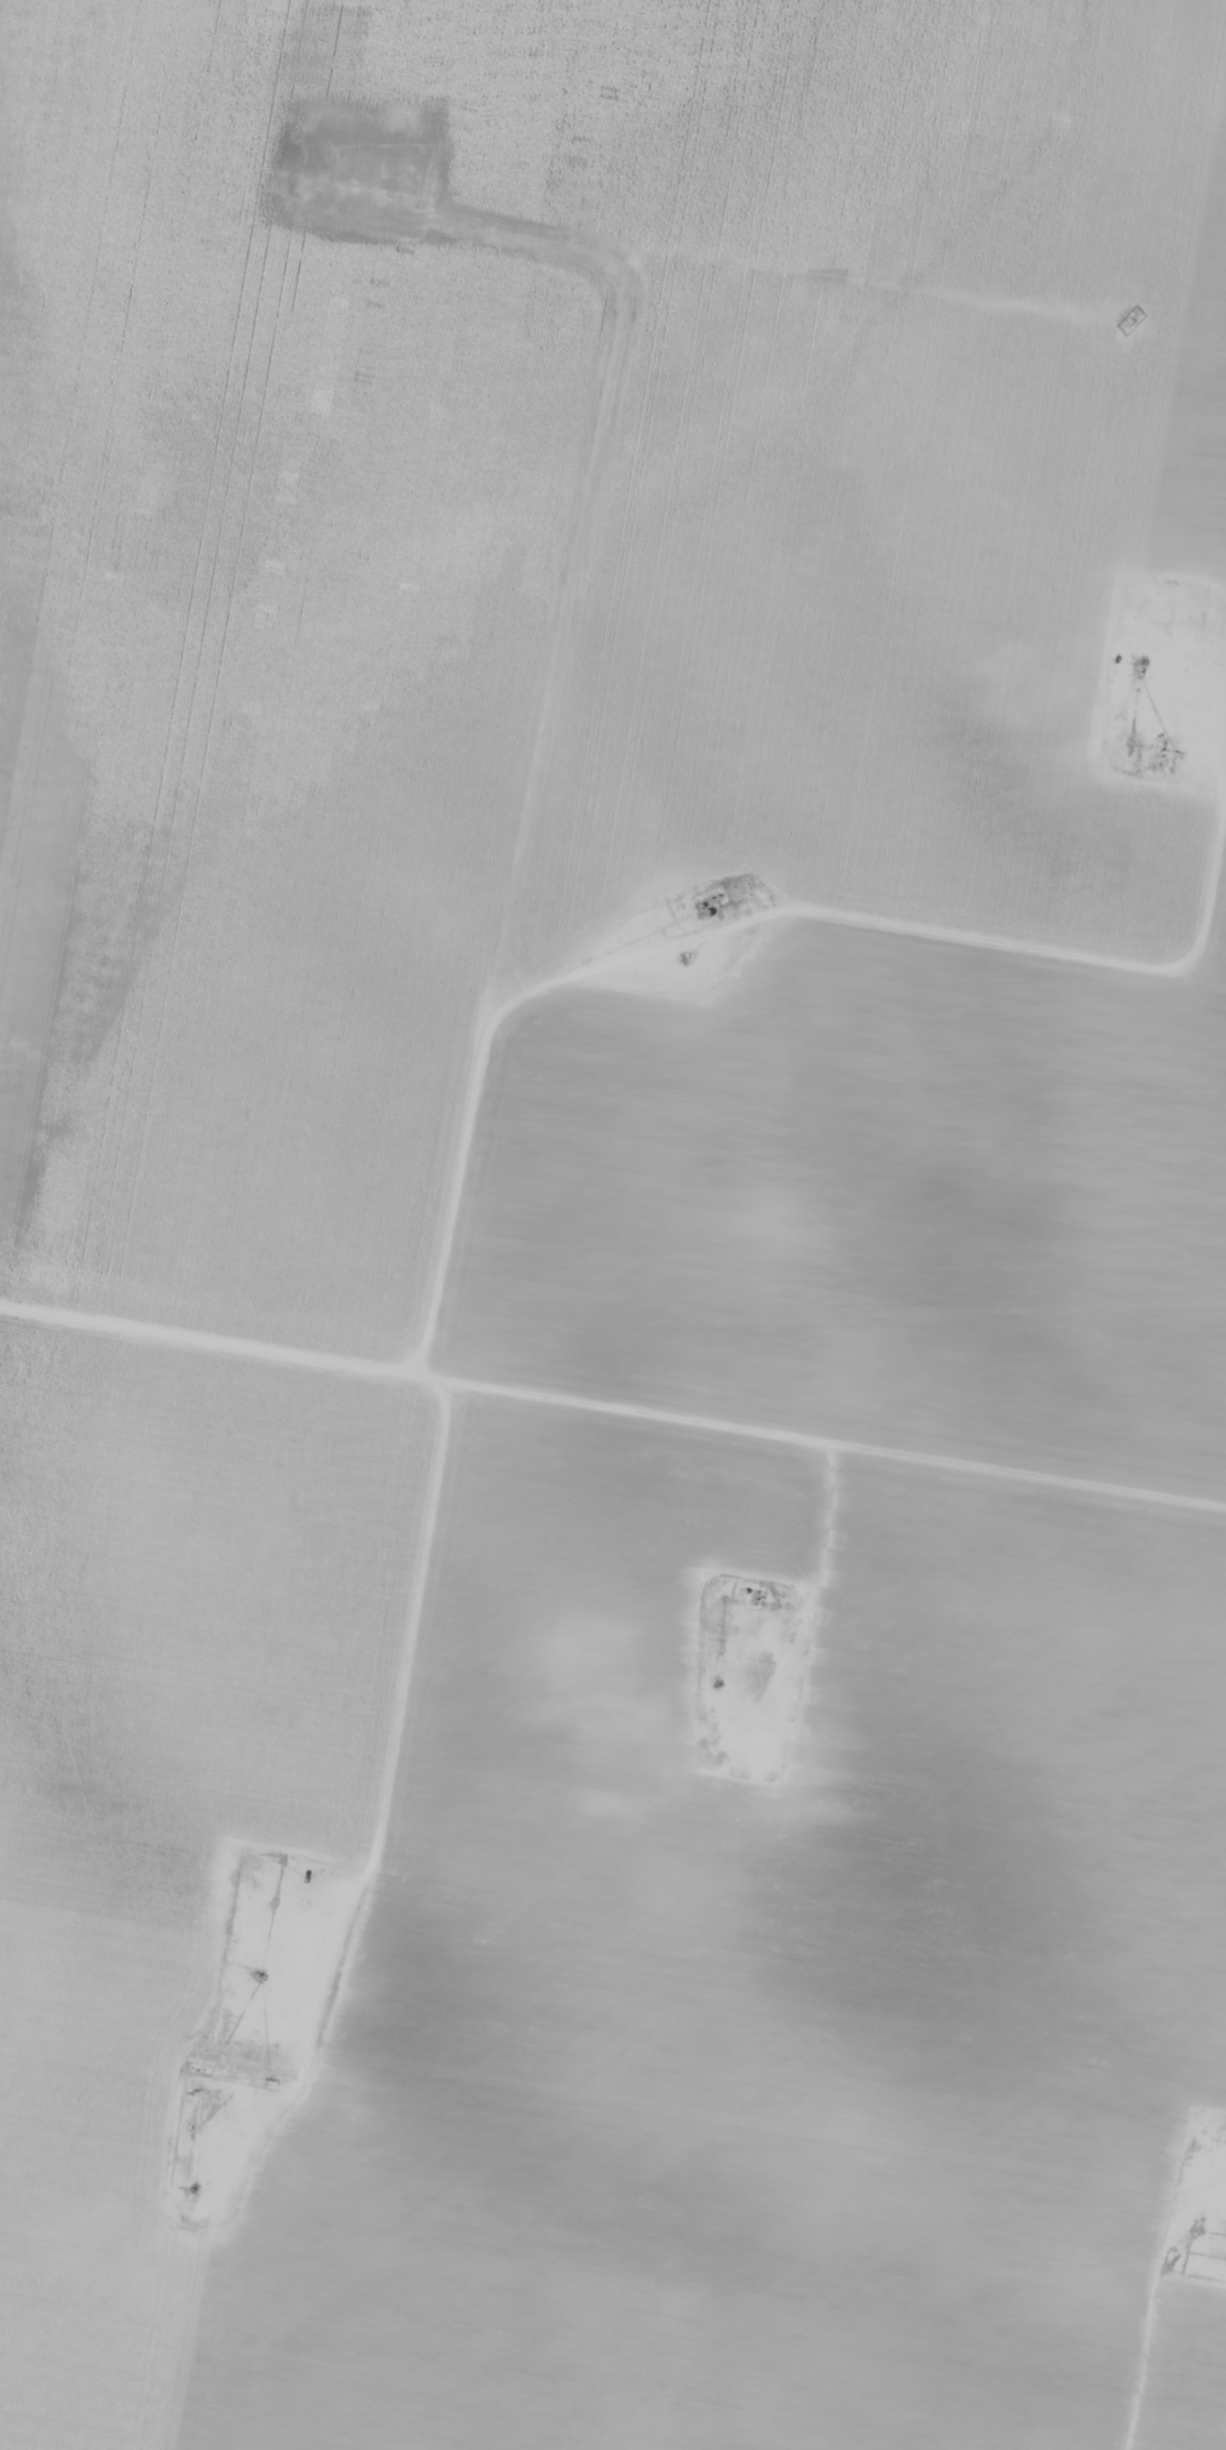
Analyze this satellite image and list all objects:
road: (613, 1405)

